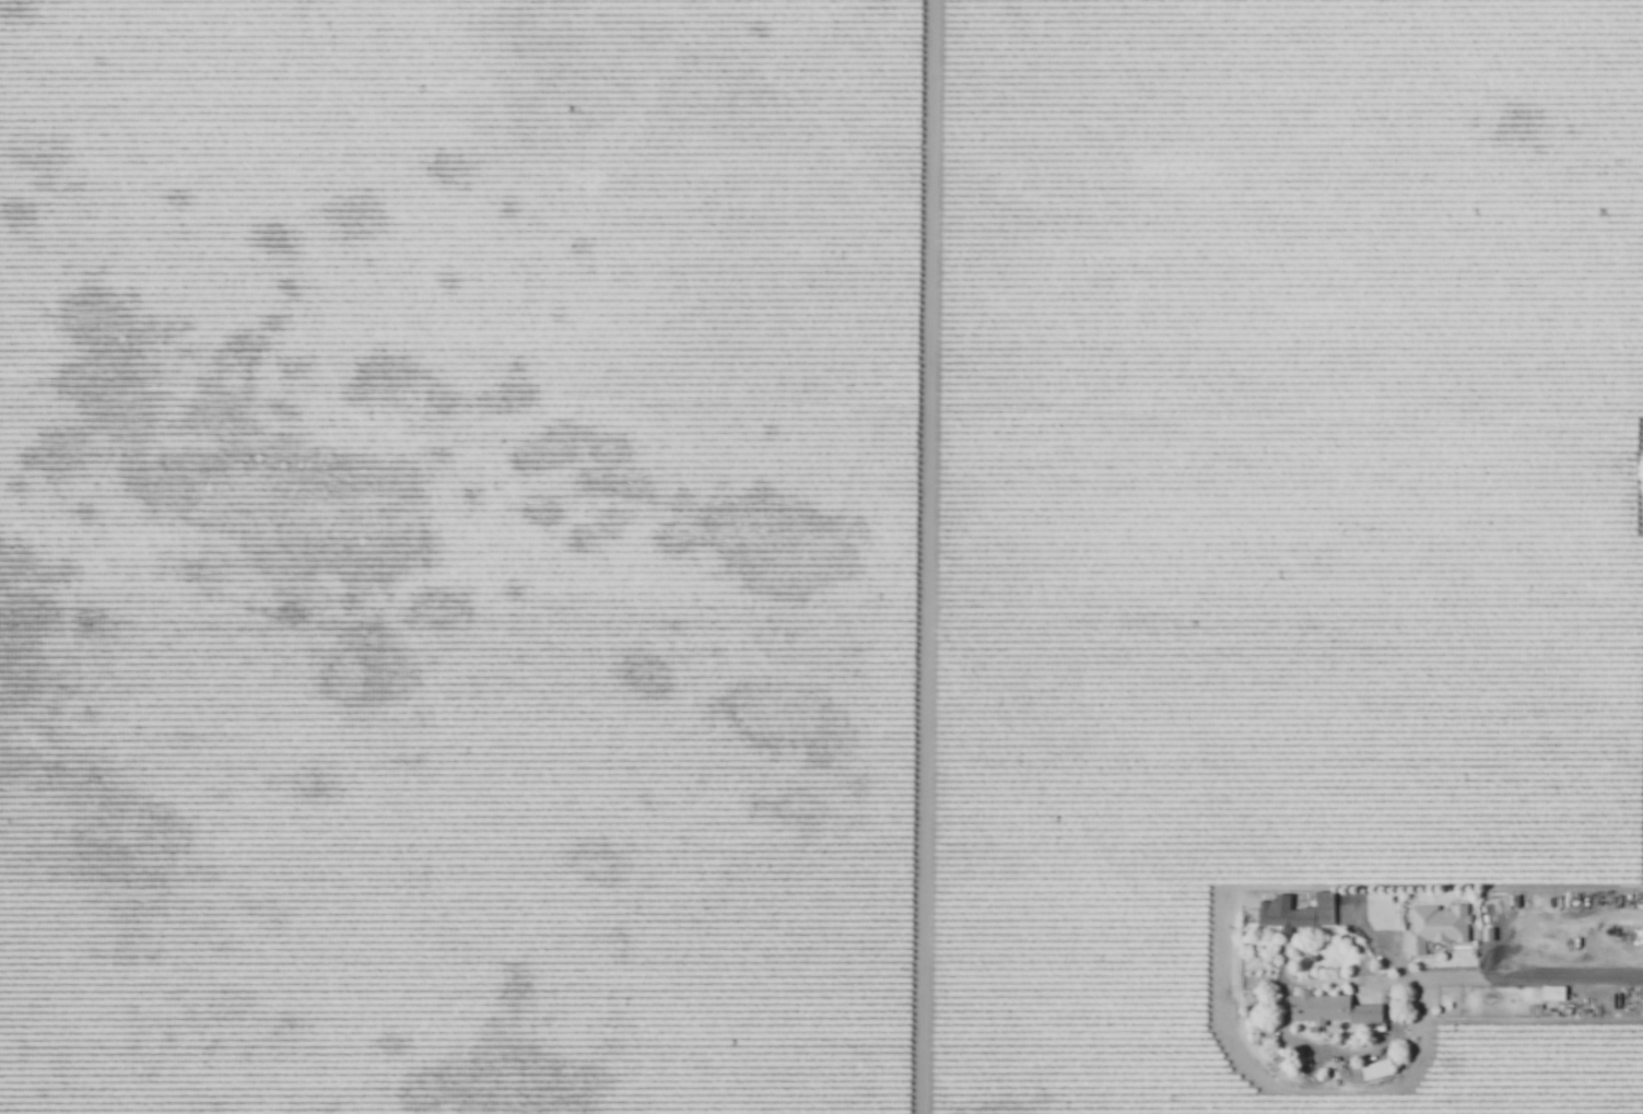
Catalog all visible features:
crop: (821, 556)
building: (1299, 911)
building: (1437, 925)
road: (1466, 977)
building: (1554, 992)
building: (1331, 1009)

